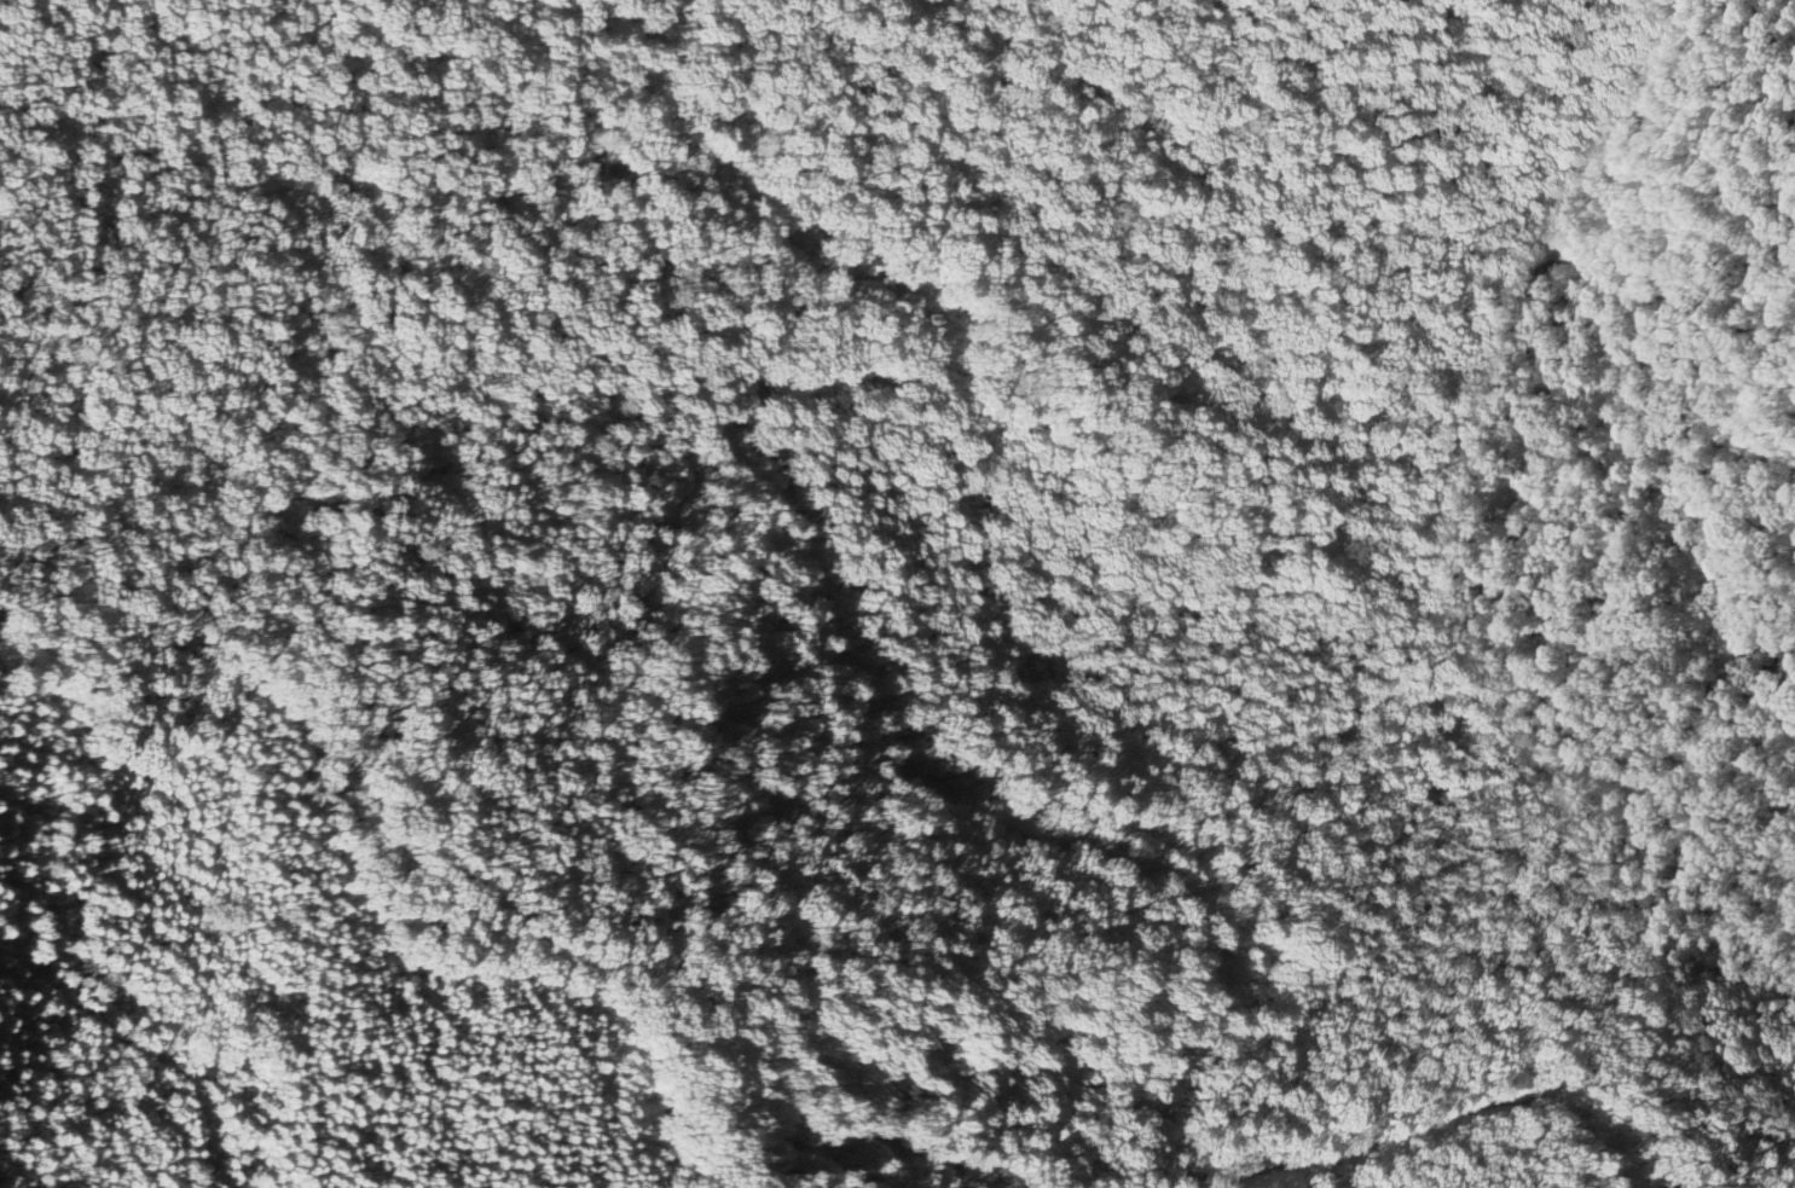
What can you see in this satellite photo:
road: (884, 747)
road: (81, 1039)

